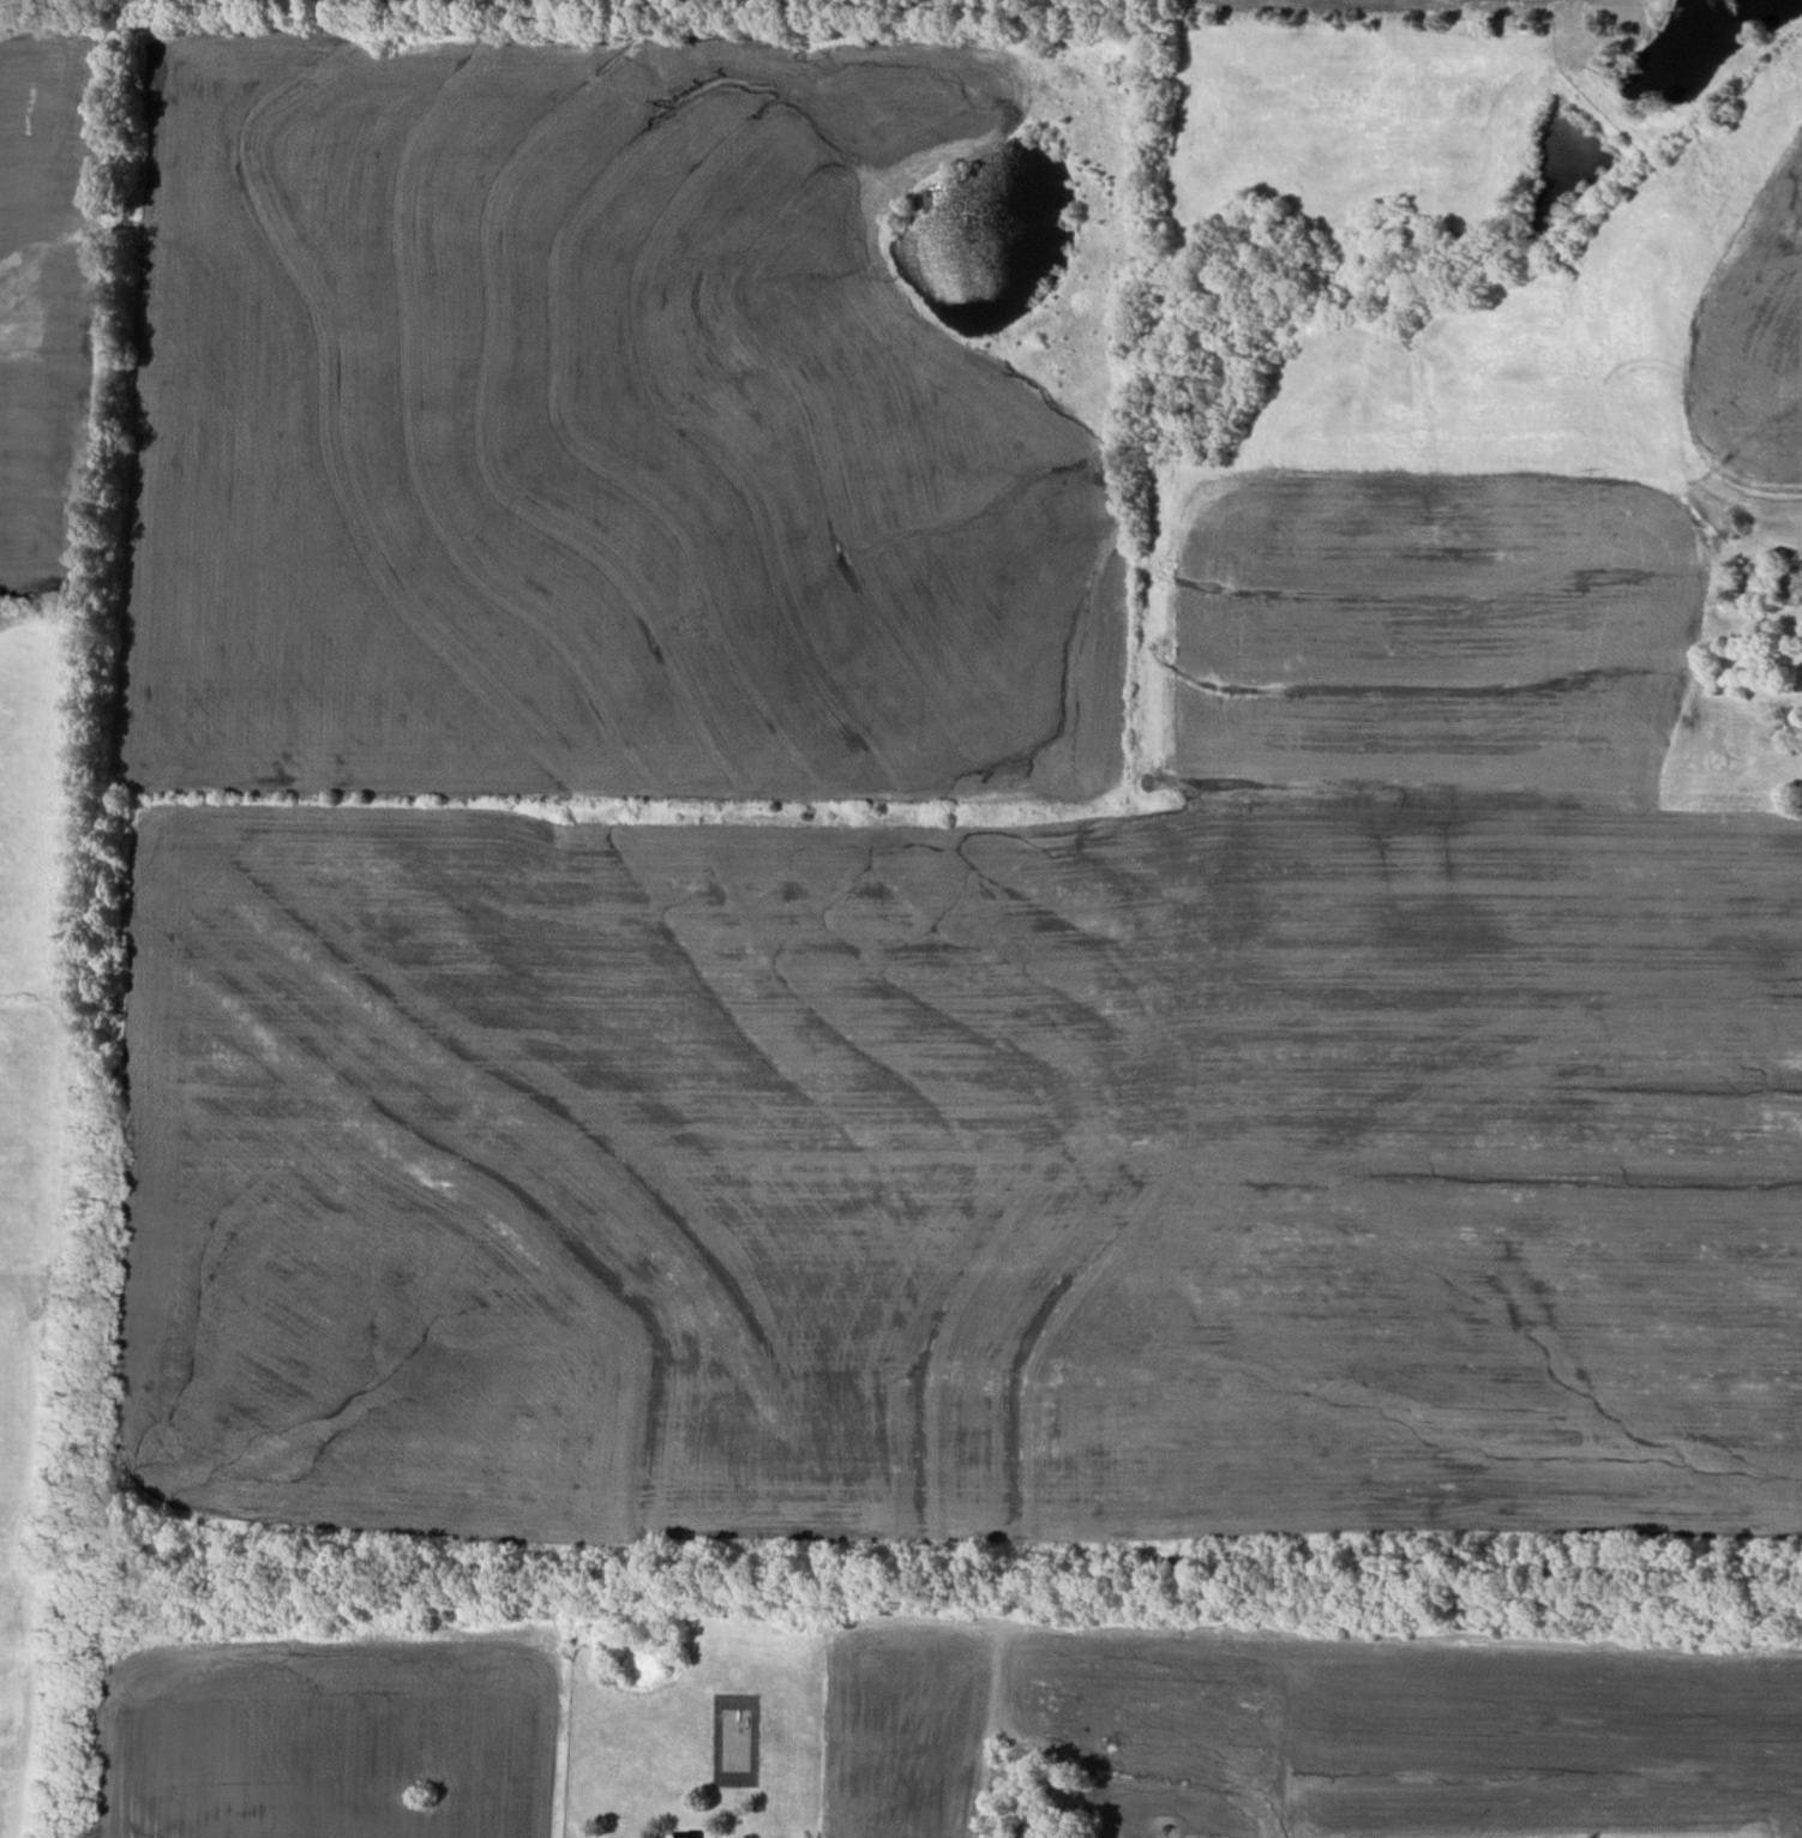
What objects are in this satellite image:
crop: (1644, 20)
crop: (47, 282)
crop: (29, 914)
crop: (956, 1170)
crop: (1327, 1731)
park: (735, 1740)
crop: (317, 1741)

